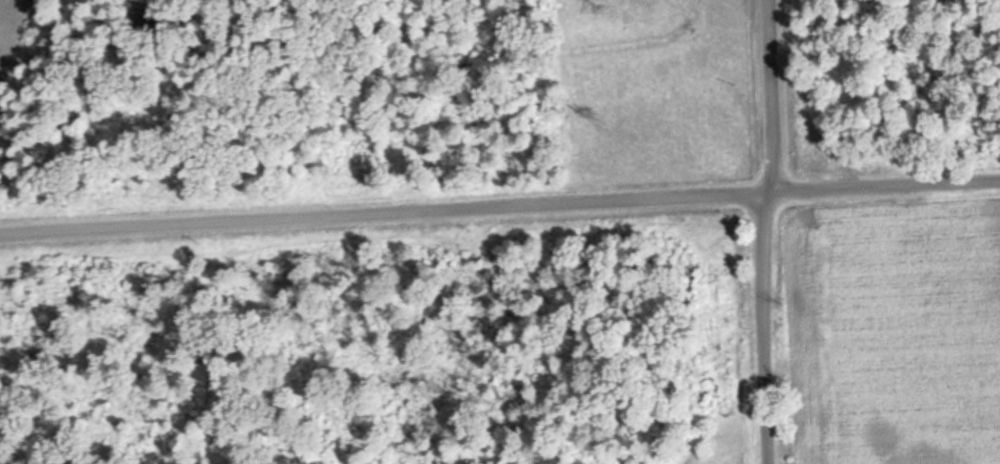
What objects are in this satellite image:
road: (499, 204)
road: (760, 232)

